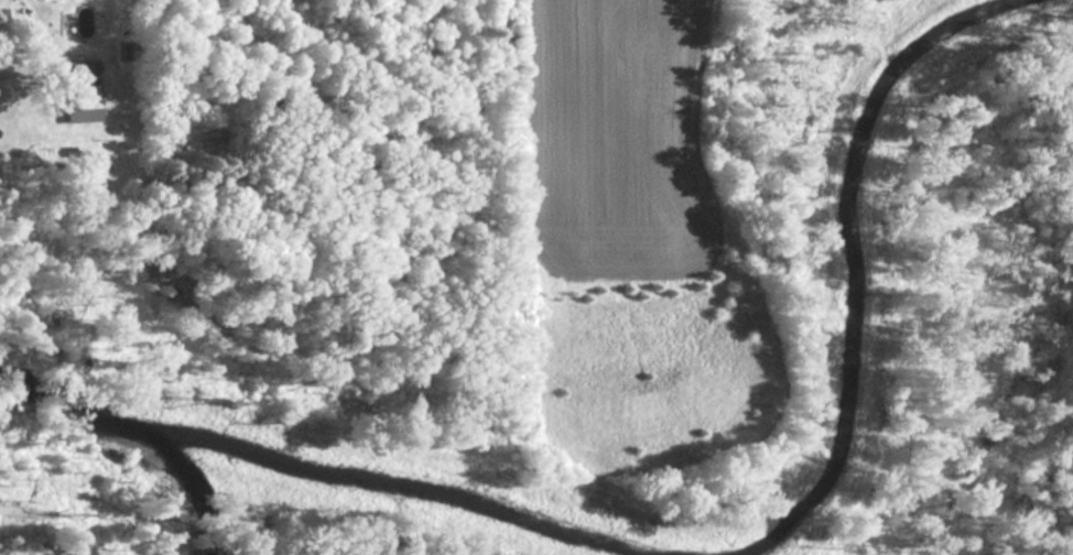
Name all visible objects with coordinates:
building: (122, 50)
building: (82, 92)
river: (855, 262)
river: (75, 410)
river: (192, 491)
river: (404, 494)

